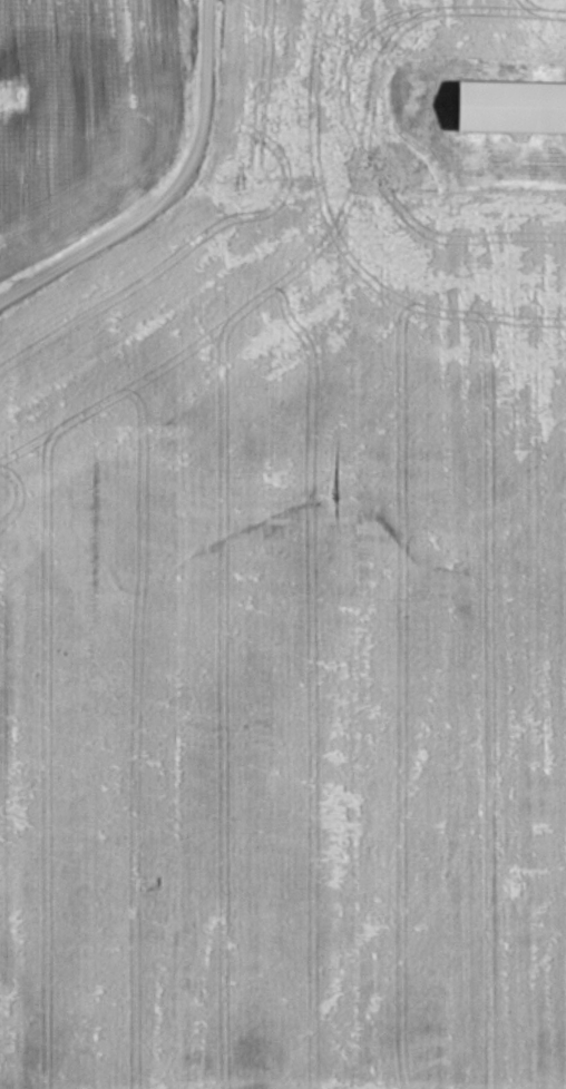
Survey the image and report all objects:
building: (514, 106)
road: (201, 116)
road: (70, 253)

